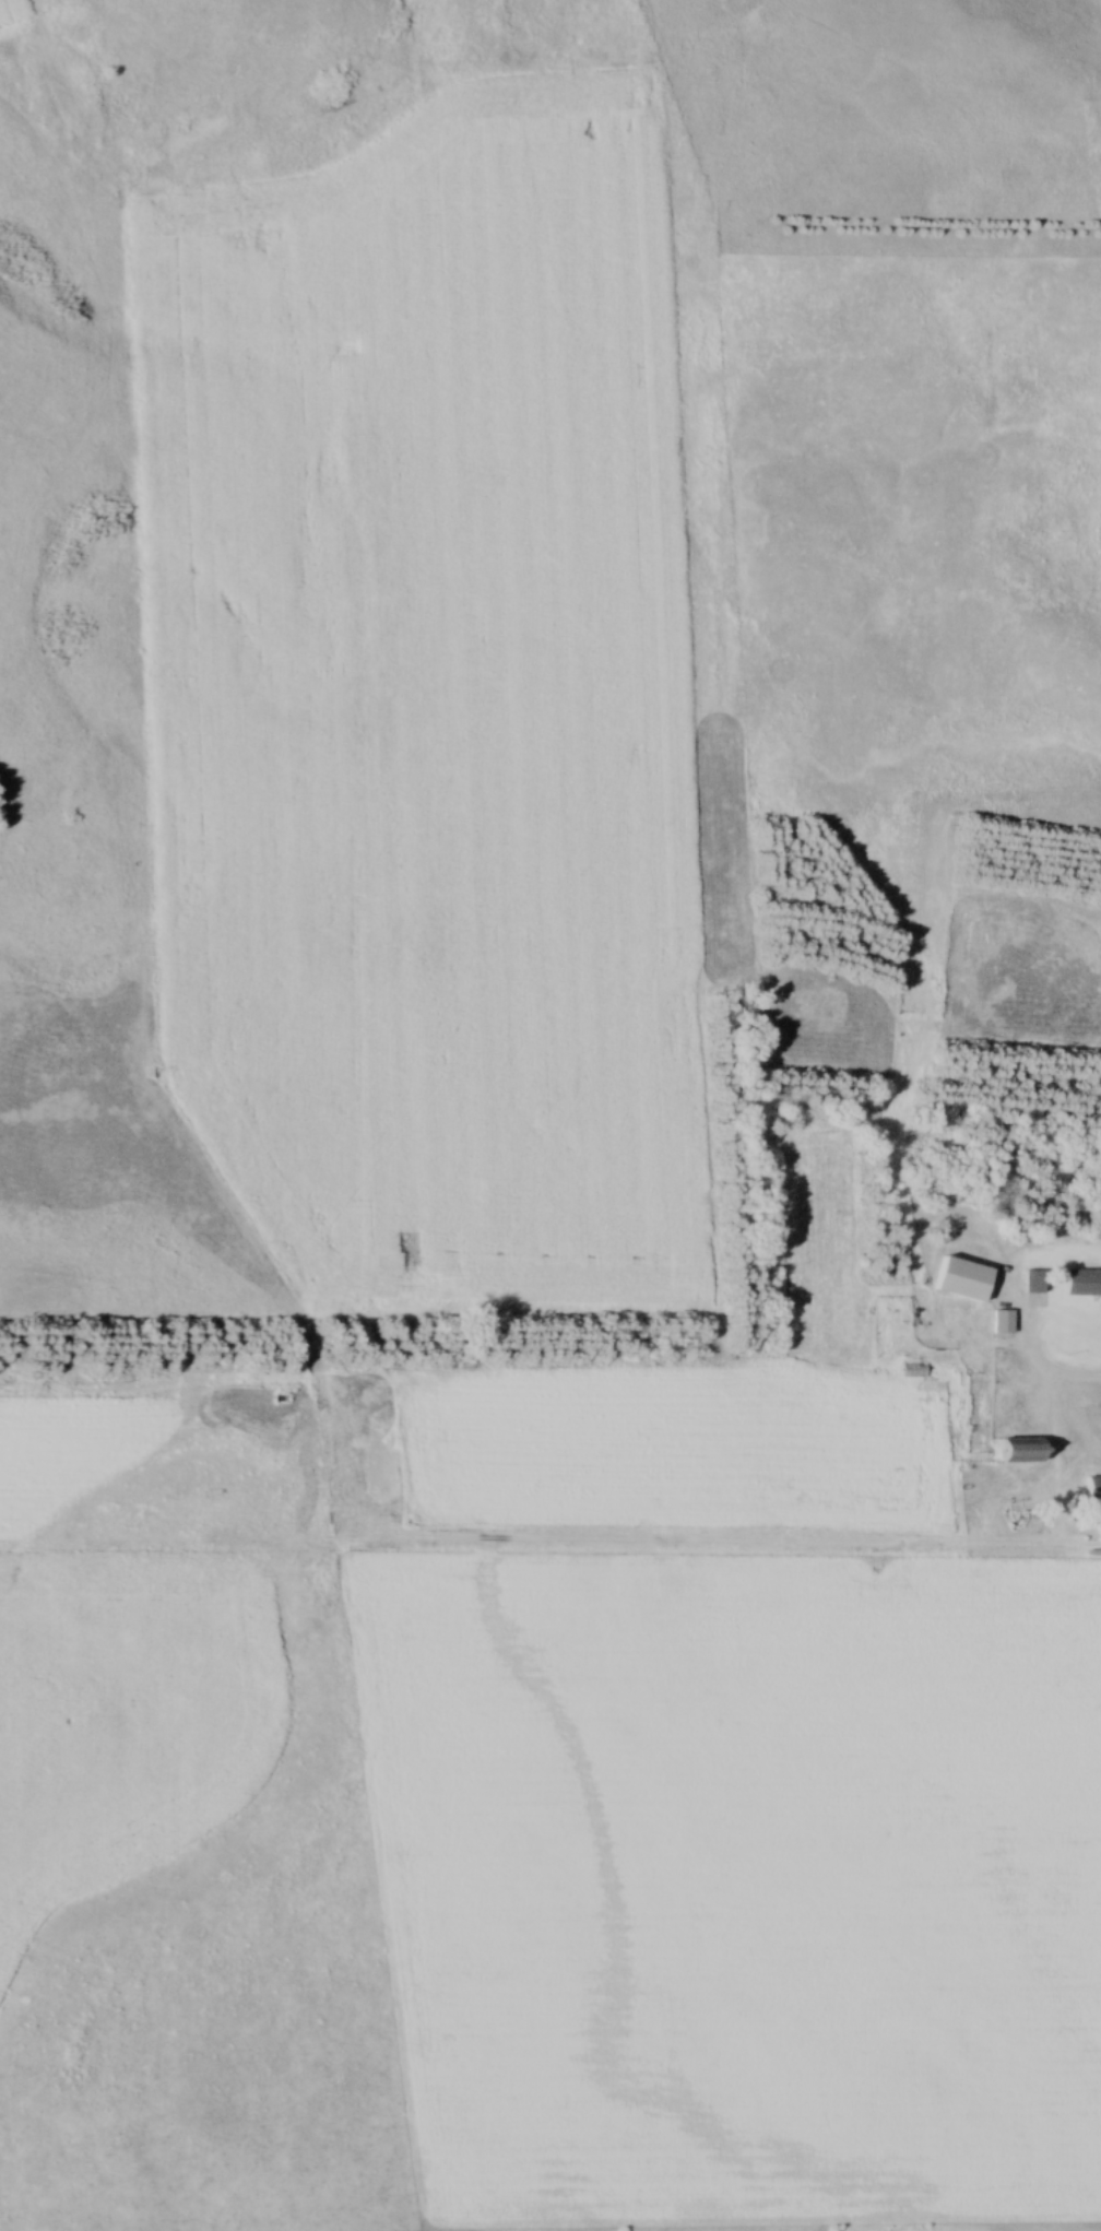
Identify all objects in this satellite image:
building: (1035, 1285)
building: (1005, 1325)
building: (1090, 1329)
building: (915, 1373)
road: (1051, 1408)
building: (1025, 1454)
building: (1094, 1490)

